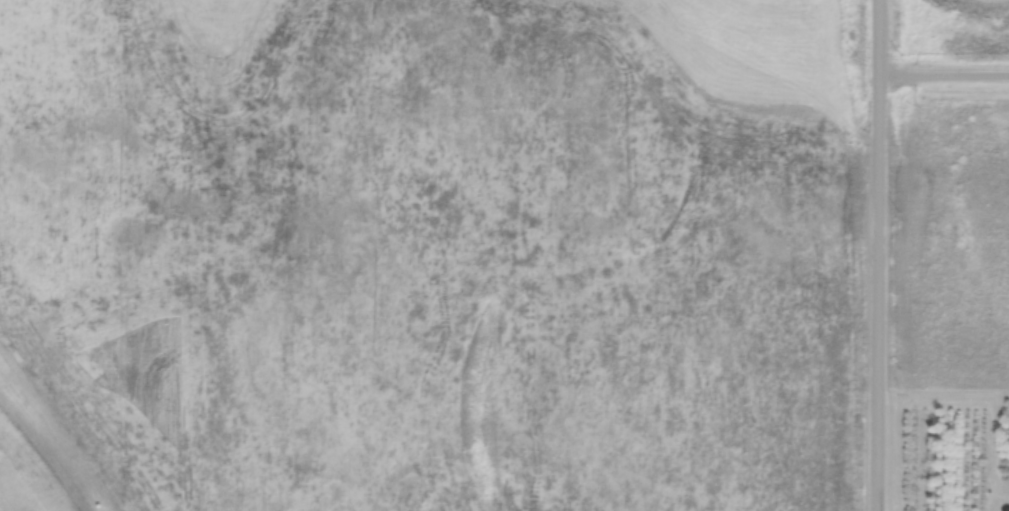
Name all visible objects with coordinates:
road: (947, 80)
road: (884, 255)

